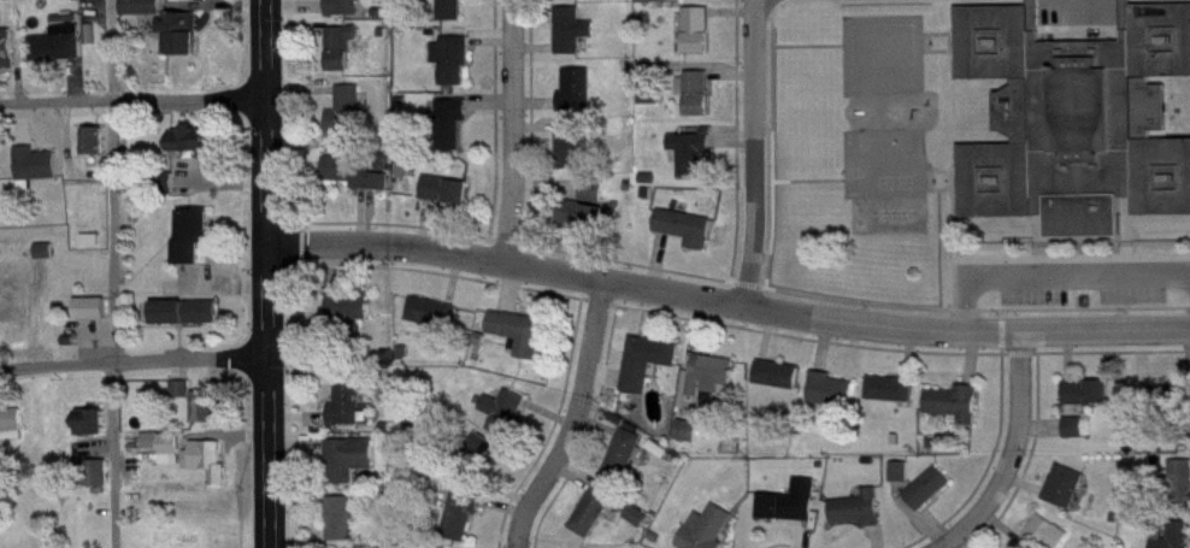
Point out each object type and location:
building: (697, 1)
building: (572, 4)
building: (94, 5)
building: (347, 13)
building: (143, 14)
building: (454, 16)
building: (576, 41)
building: (701, 42)
building: (183, 43)
building: (63, 55)
building: (346, 58)
building: (8, 59)
building: (456, 71)
road: (135, 101)
building: (581, 101)
building: (700, 104)
building: (654, 105)
building: (350, 122)
building: (1071, 123)
road: (516, 130)
building: (455, 132)
road: (755, 151)
building: (100, 152)
building: (193, 152)
building: (573, 157)
building: (695, 164)
building: (41, 177)
building: (364, 183)
building: (449, 201)
building: (588, 201)
building: (589, 226)
building: (690, 238)
building: (199, 246)
building: (48, 263)
road: (272, 273)
road: (1061, 278)
road: (730, 300)
building: (354, 317)
building: (96, 319)
building: (190, 323)
building: (435, 324)
building: (525, 343)
road: (136, 364)
building: (650, 372)
building: (715, 385)
building: (780, 385)
building: (894, 400)
building: (835, 401)
building: (1091, 403)
building: (202, 413)
building: (350, 413)
building: (959, 414)
road: (575, 420)
building: (508, 423)
building: (96, 434)
building: (13, 437)
building: (1079, 438)
building: (691, 442)
building: (169, 456)
road: (1007, 456)
building: (628, 465)
building: (482, 467)
building: (352, 470)
building: (212, 471)
building: (903, 483)
building: (104, 484)
building: (1182, 491)
building: (1068, 497)
building: (931, 499)
building: (794, 513)
building: (861, 520)
building: (596, 522)
building: (465, 523)
building: (346, 526)
building: (642, 526)
building: (712, 534)
building: (1049, 540)
building: (1182, 540)

